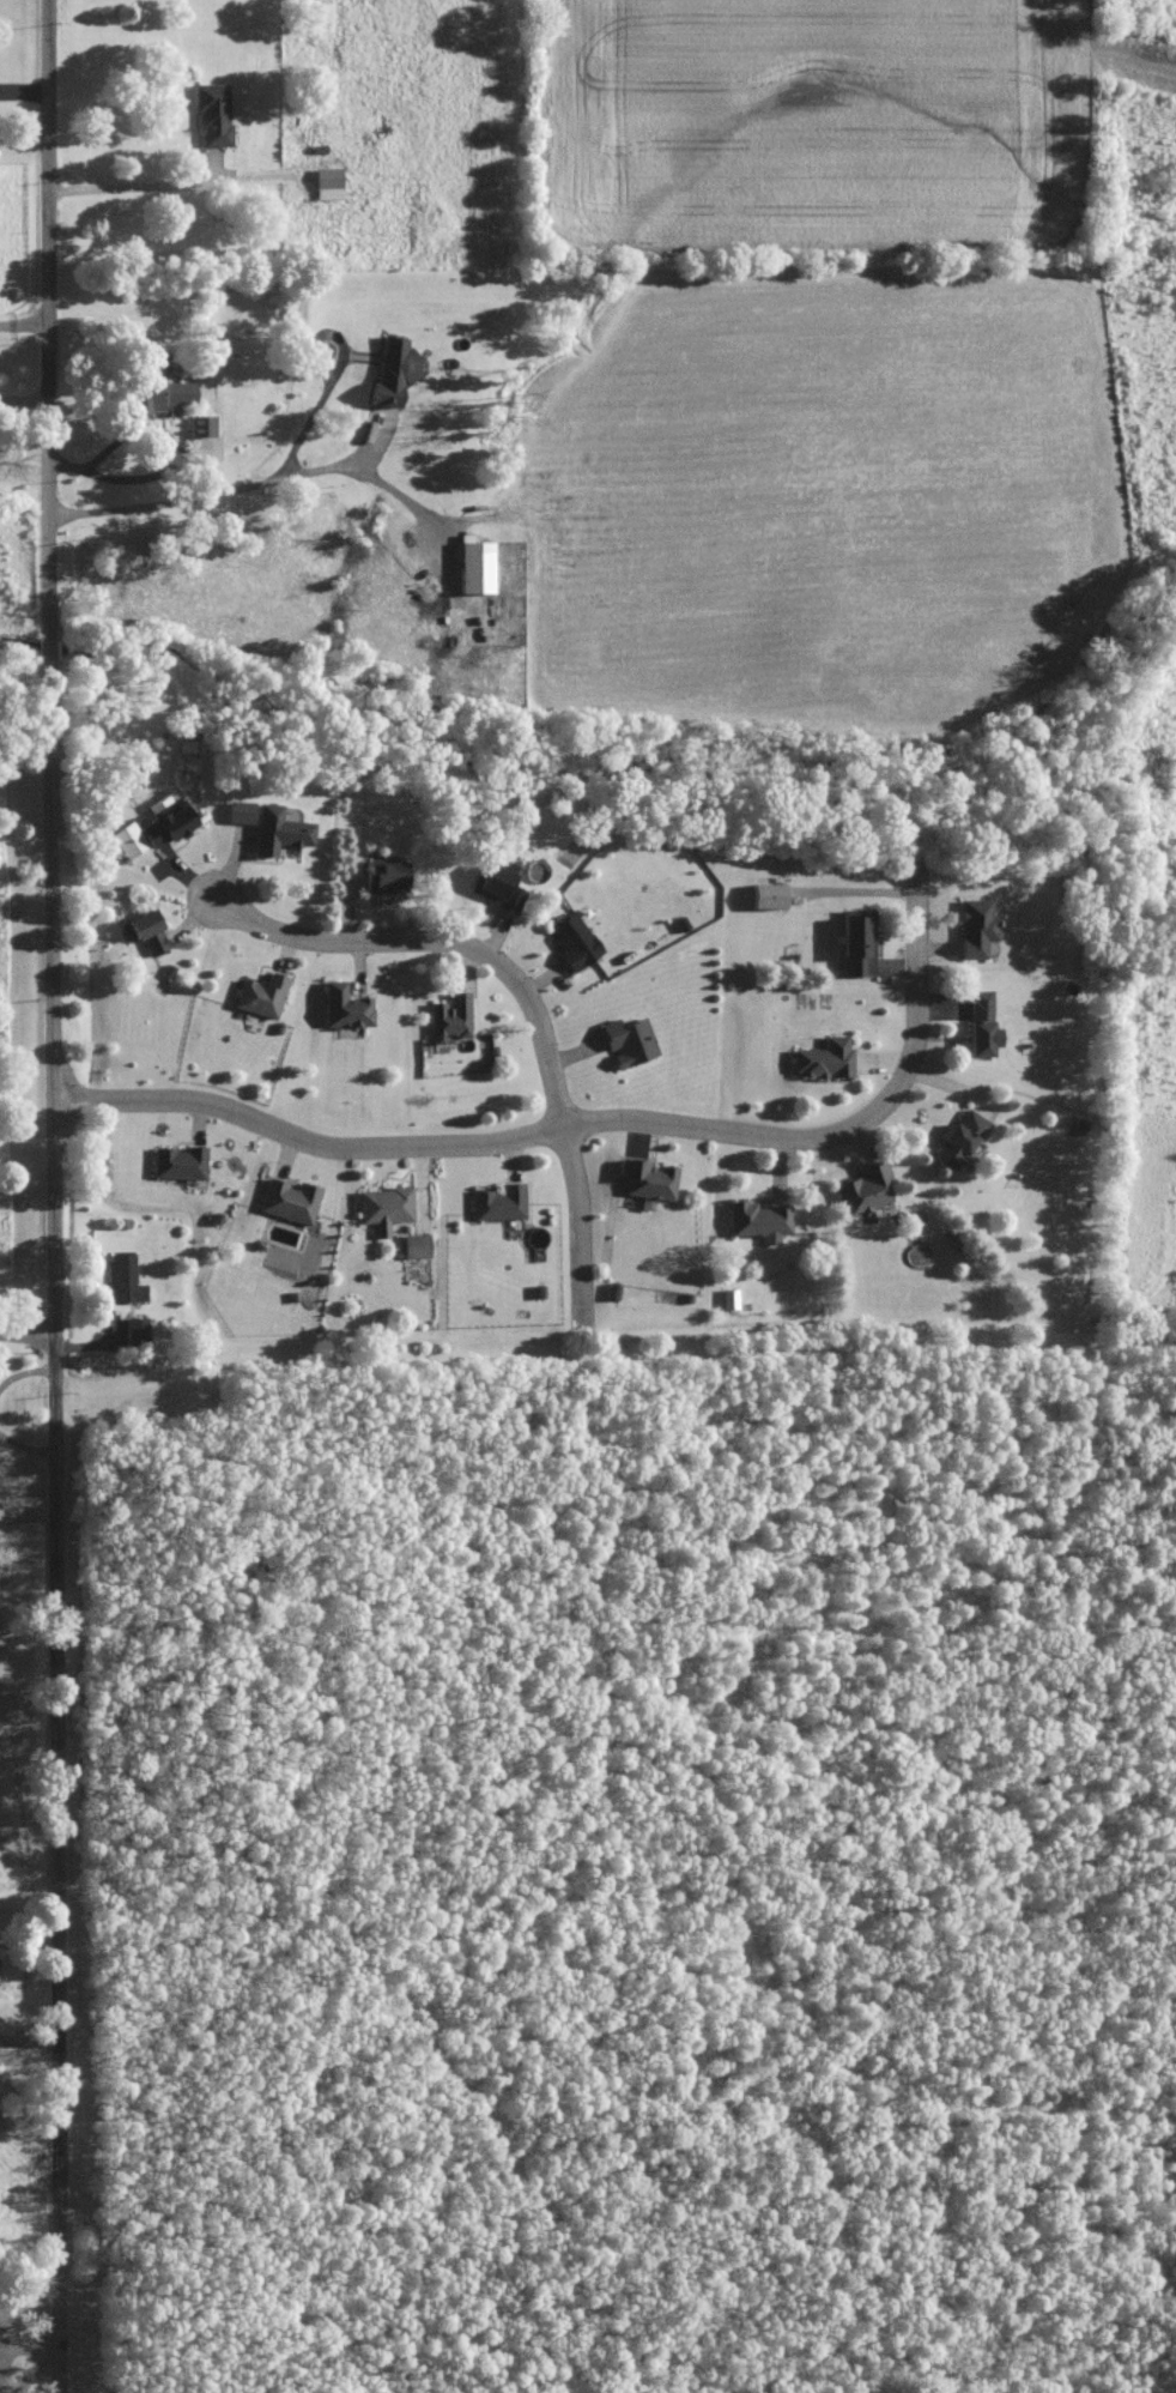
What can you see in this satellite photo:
road: (24, 91)
building: (216, 115)
building: (329, 183)
road: (141, 186)
road: (24, 326)
building: (395, 370)
building: (158, 398)
road: (24, 399)
building: (204, 425)
road: (170, 466)
road: (232, 490)
building: (242, 811)
building: (154, 829)
building: (280, 830)
building: (387, 876)
building: (501, 886)
building: (769, 895)
building: (977, 926)
building: (150, 931)
building: (575, 941)
building: (859, 943)
building: (262, 995)
road: (527, 998)
building: (346, 1007)
building: (451, 1017)
building: (982, 1025)
building: (630, 1041)
building: (825, 1059)
road: (587, 1124)
building: (182, 1162)
building: (648, 1178)
building: (867, 1190)
road: (55, 1196)
building: (291, 1201)
building: (501, 1202)
building: (386, 1208)
building: (759, 1220)
building: (417, 1245)
building: (127, 1280)
building: (731, 1298)
building: (140, 1330)
road: (28, 1337)
park: (22, 2038)
road: (30, 2038)
road: (30, 2315)

